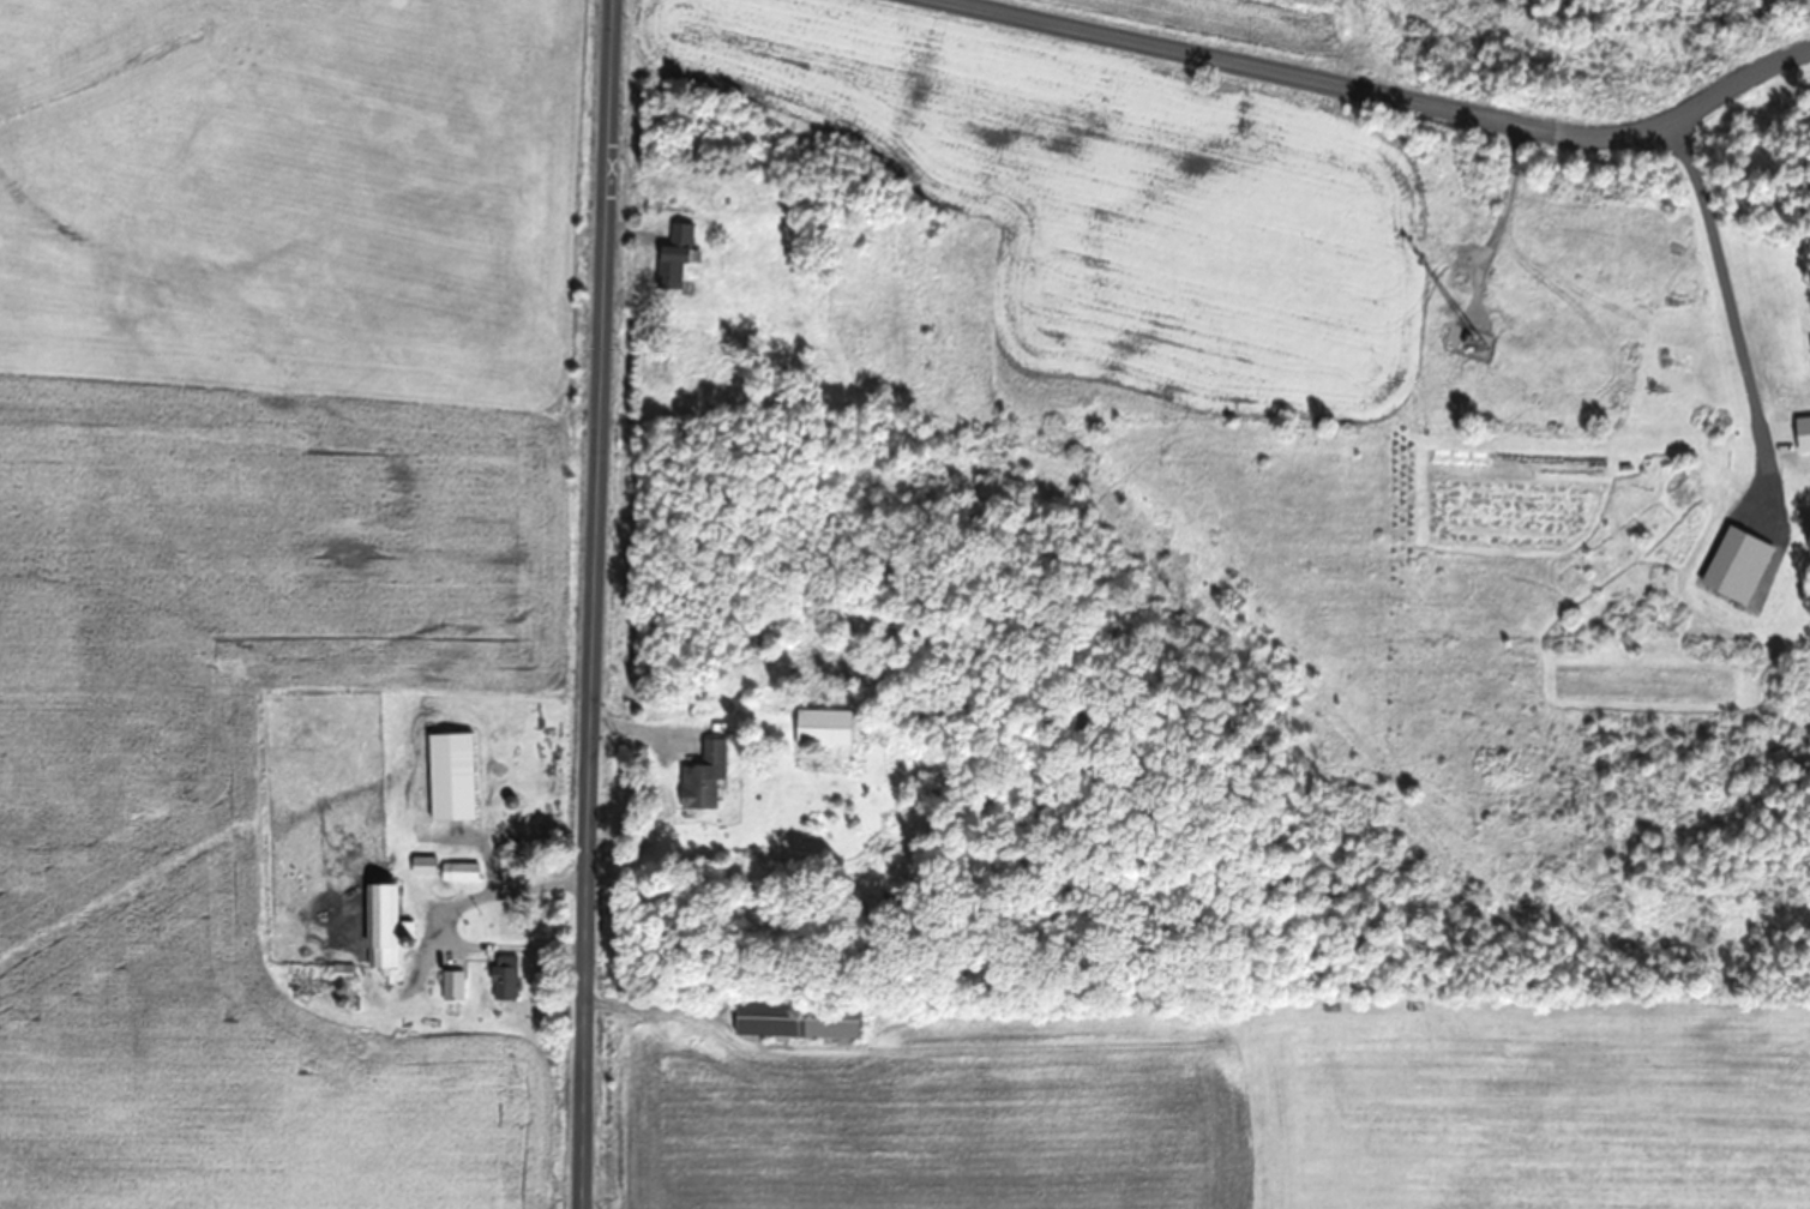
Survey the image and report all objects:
park: (1700, 48)
road: (1388, 95)
building: (673, 255)
building: (1790, 435)
building: (1734, 566)
road: (594, 603)
building: (820, 727)
building: (703, 775)
building: (447, 776)
building: (421, 866)
building: (457, 872)
building: (381, 927)
building: (503, 978)
building: (451, 986)
building: (793, 1017)

